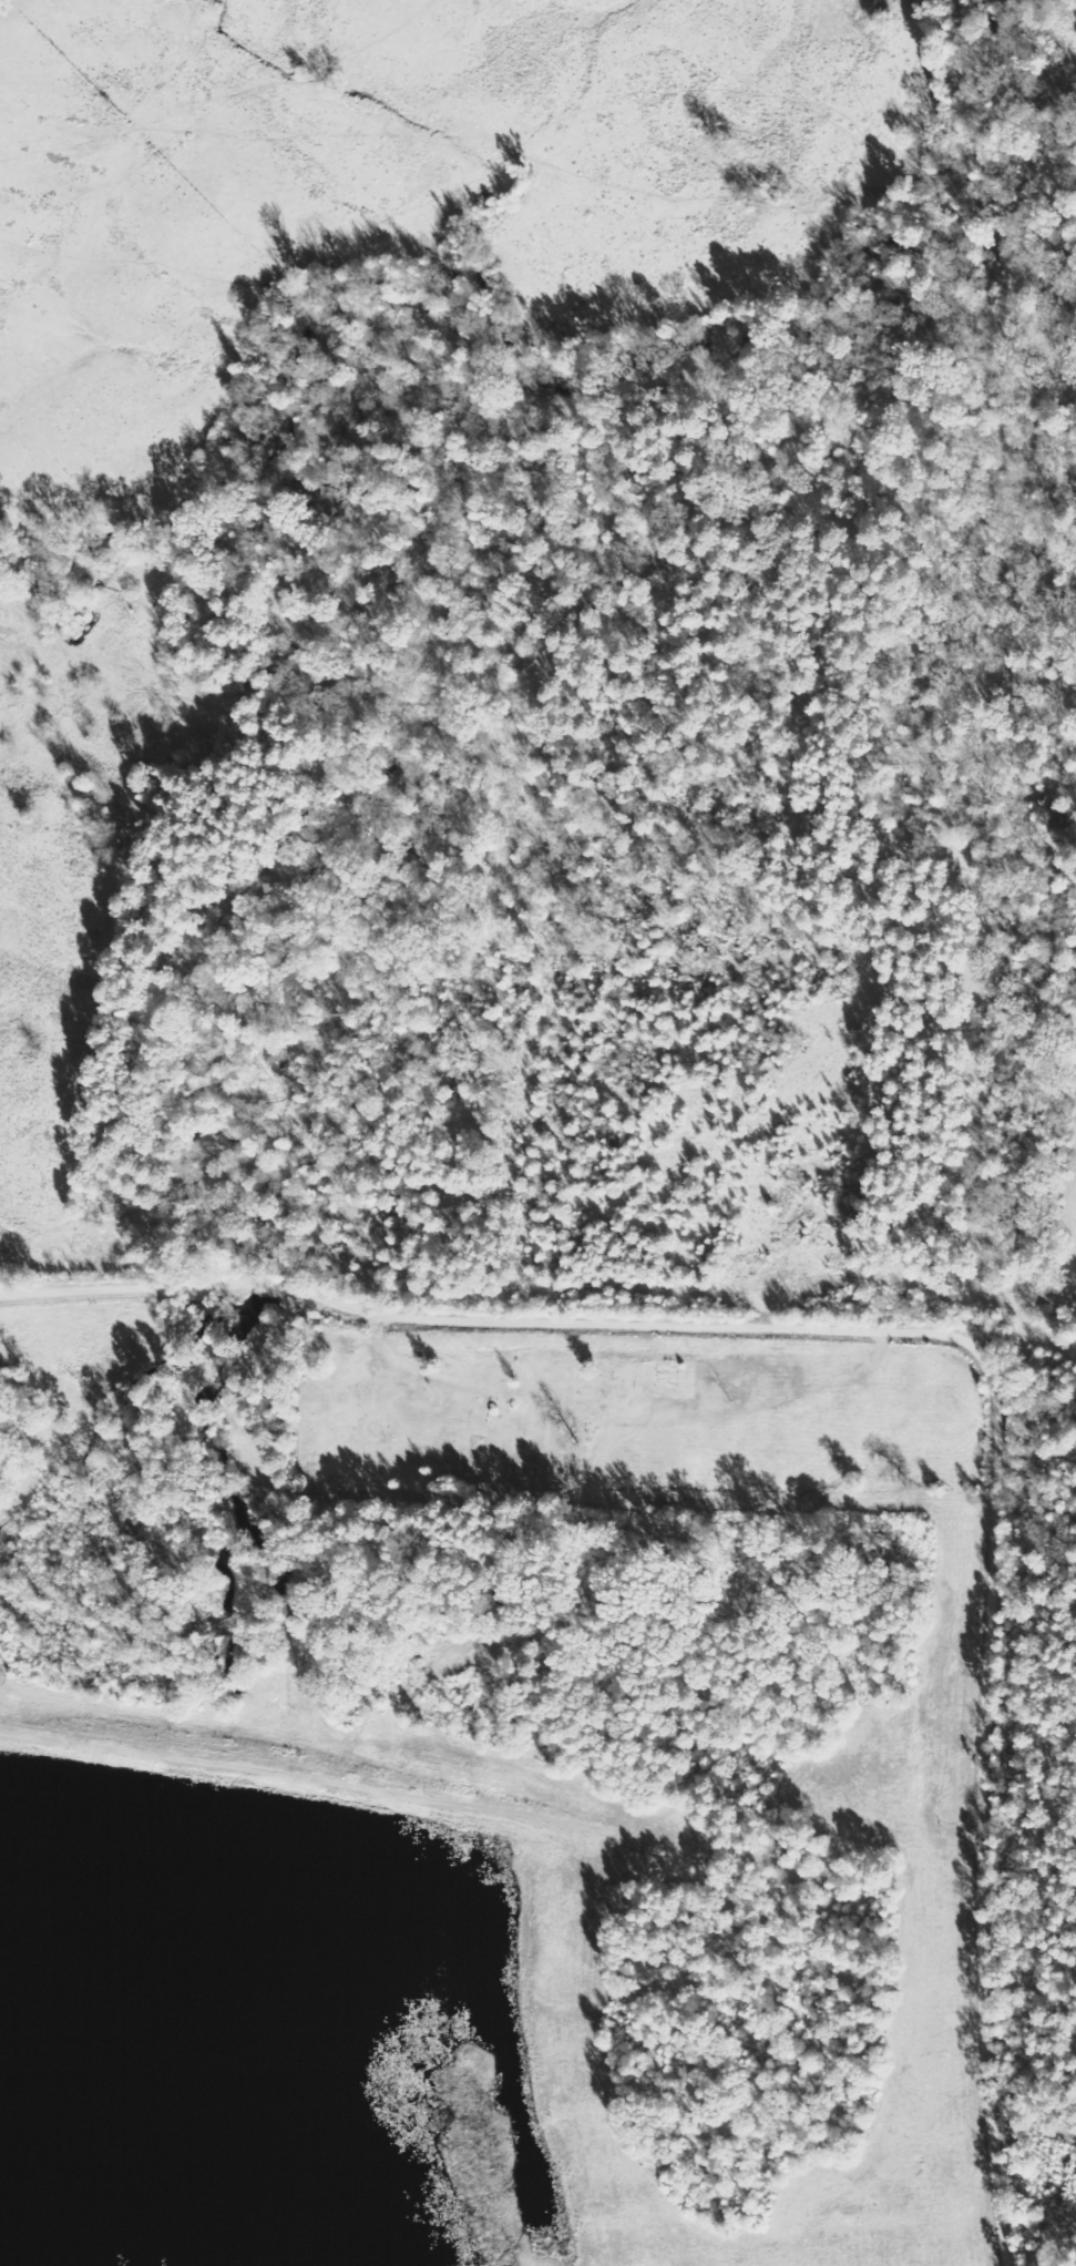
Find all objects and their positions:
road: (488, 1323)
park: (523, 1416)
road: (983, 1805)

